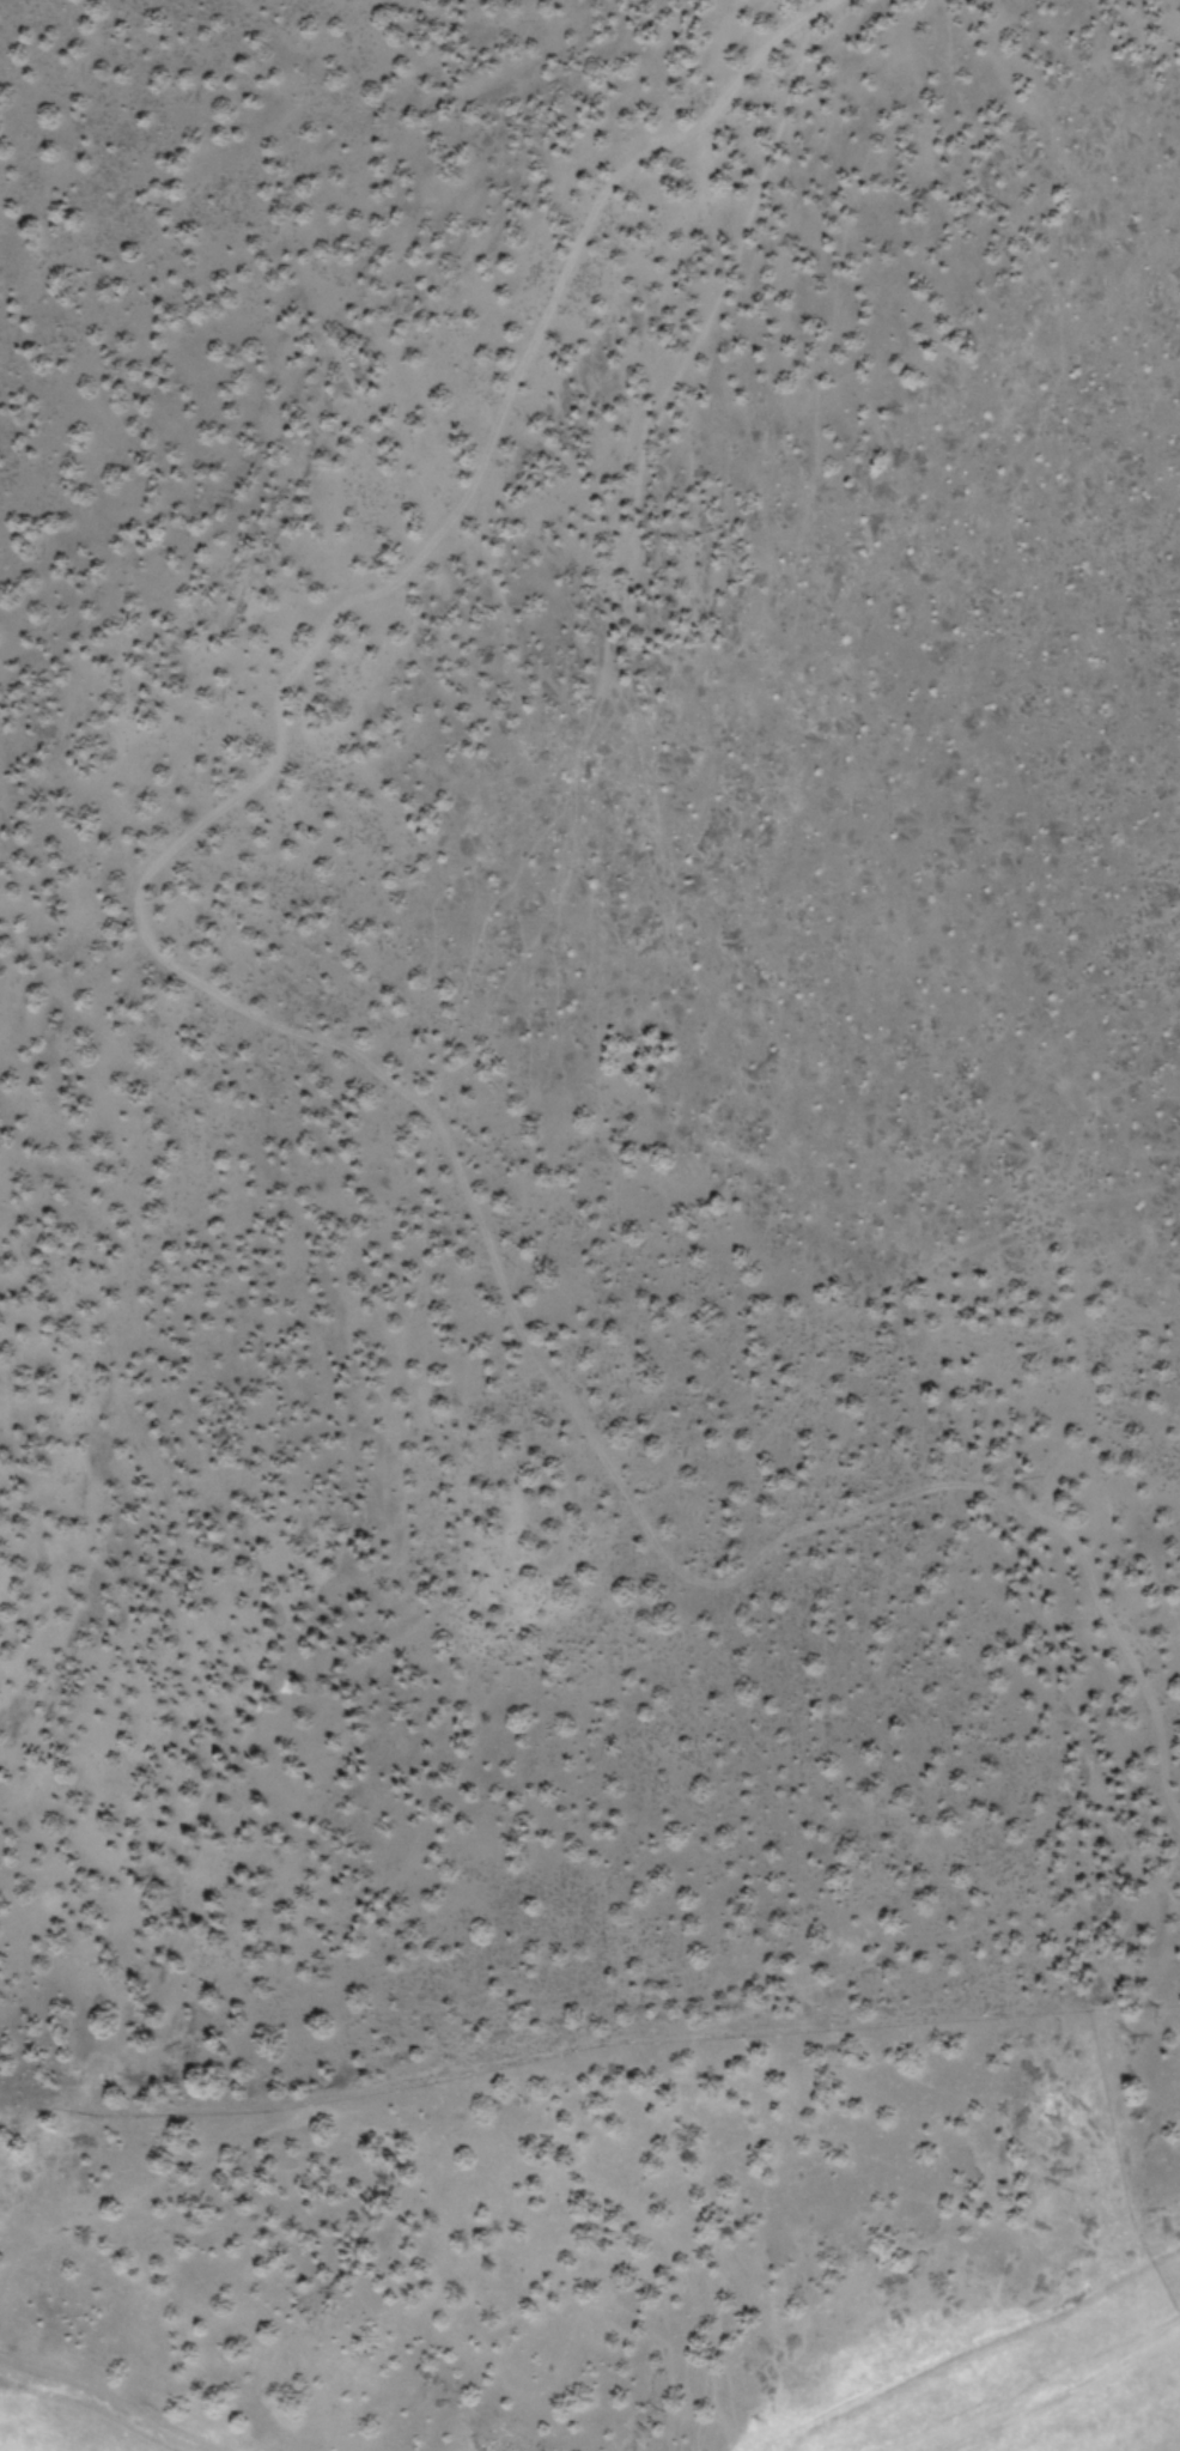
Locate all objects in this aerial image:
road: (120, 2398)
road: (1100, 2414)

